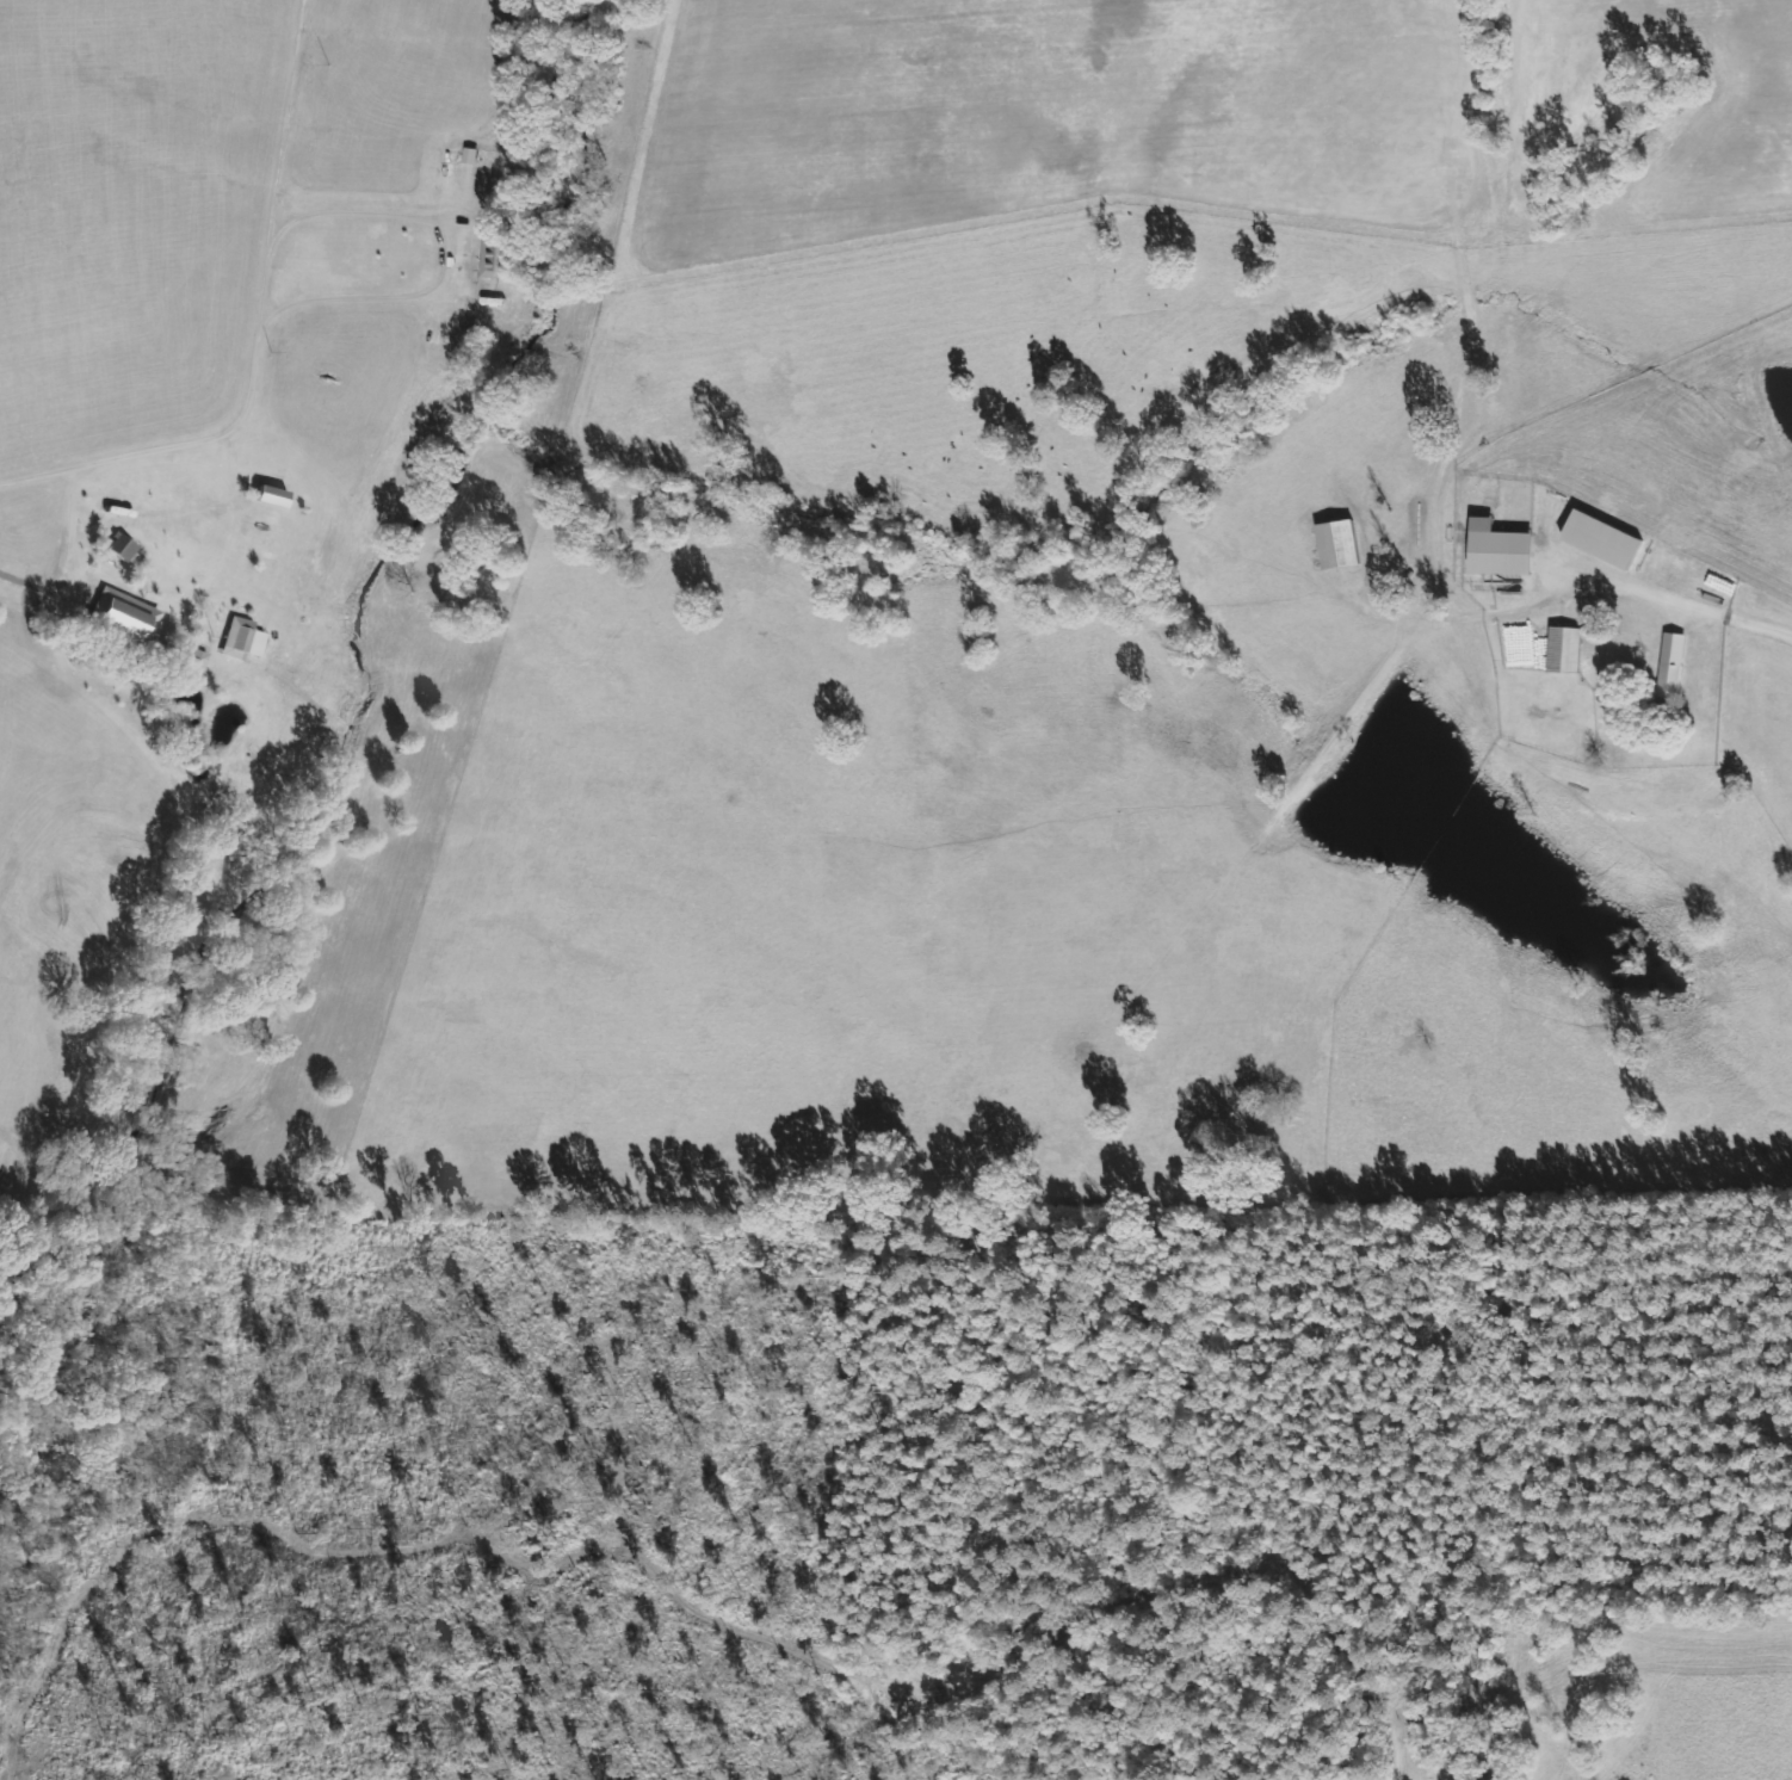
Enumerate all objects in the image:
building: (493, 255)
building: (270, 495)
building: (1601, 538)
building: (1337, 543)
building: (1499, 548)
road: (1680, 592)
building: (123, 616)
building: (241, 638)
building: (1565, 648)
building: (1671, 665)

